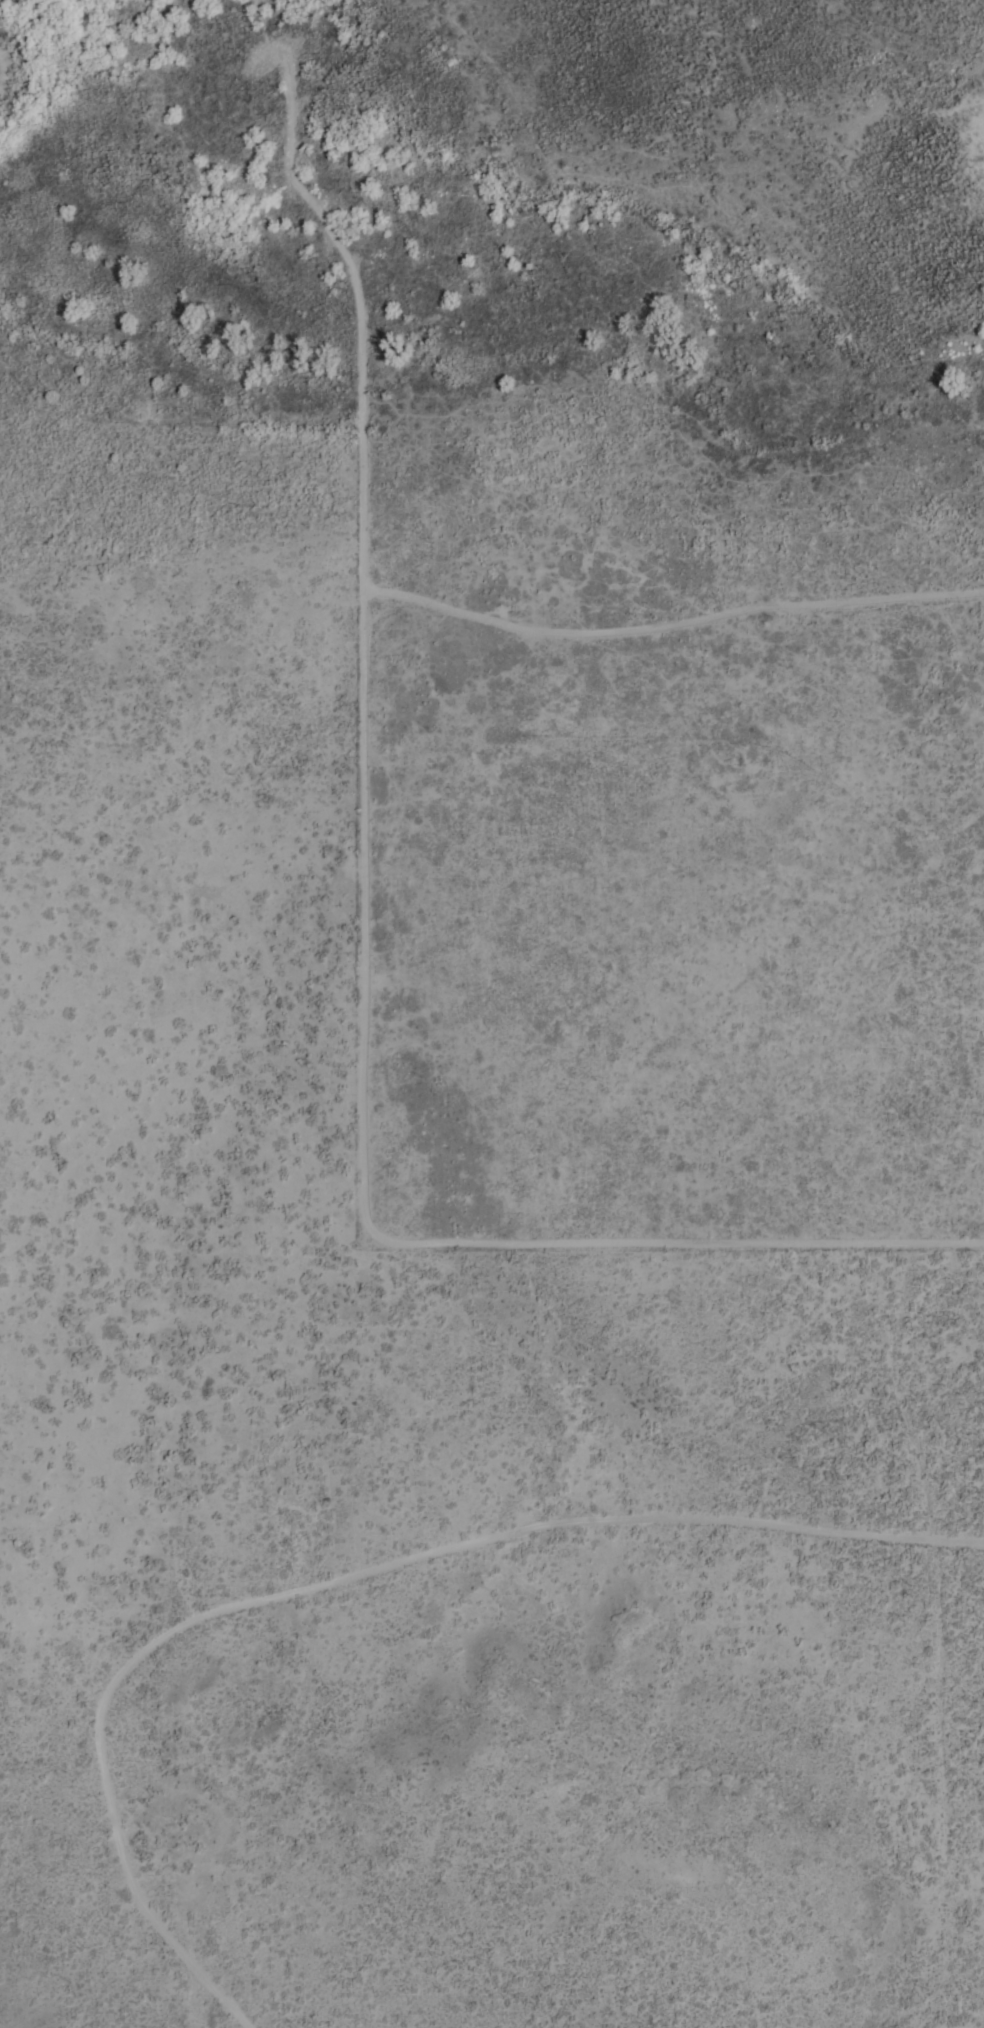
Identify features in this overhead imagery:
road: (917, 1532)

